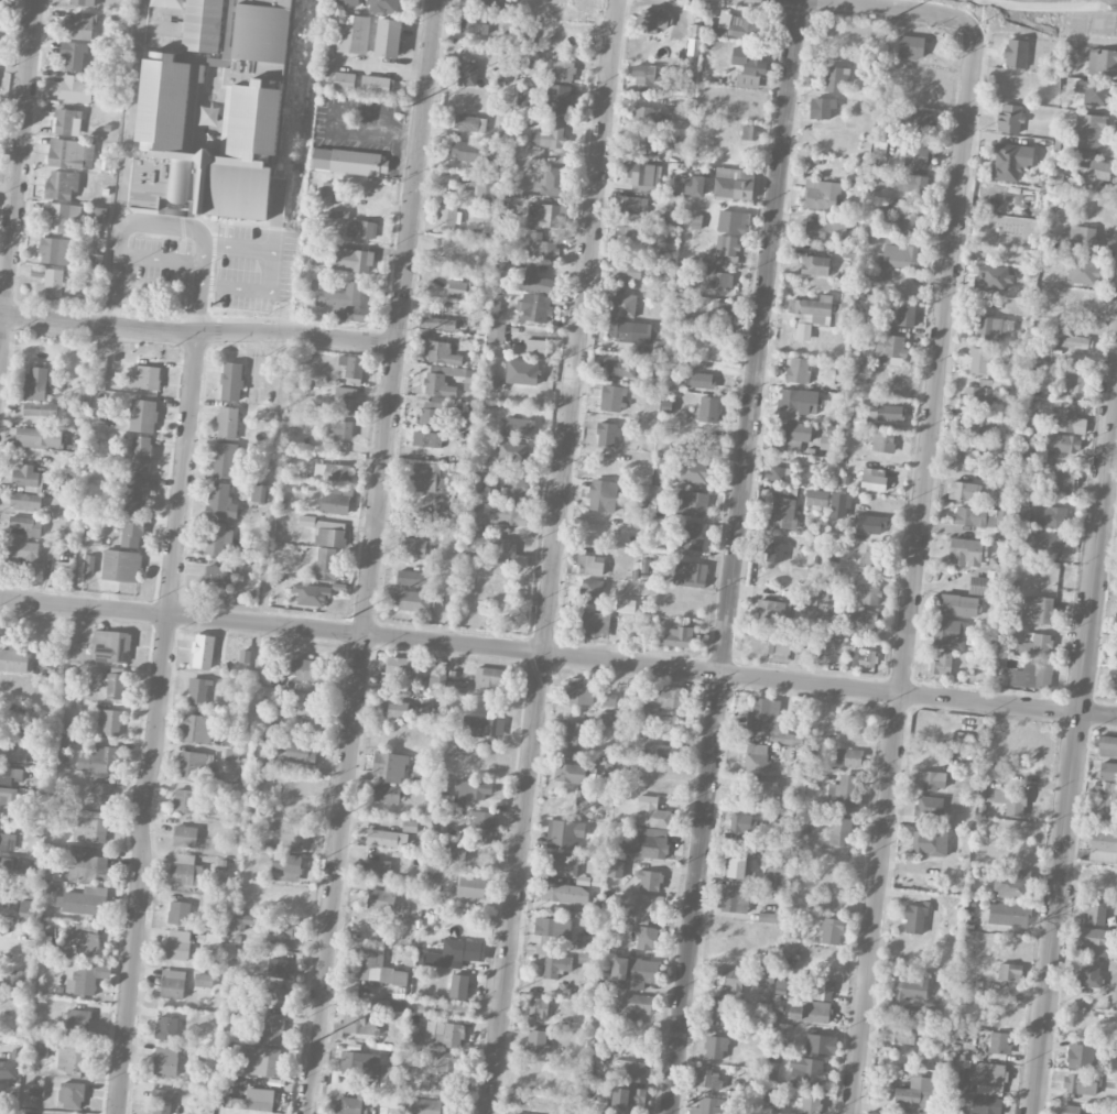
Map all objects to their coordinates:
building: (82, 2)
building: (348, 2)
building: (486, 3)
building: (384, 6)
road: (1059, 6)
building: (0, 7)
road: (902, 8)
power tower: (886, 19)
building: (653, 21)
building: (474, 23)
building: (203, 25)
building: (80, 26)
building: (741, 29)
building: (262, 30)
building: (353, 34)
building: (388, 37)
building: (911, 46)
building: (1016, 53)
building: (74, 54)
building: (223, 58)
building: (1103, 62)
building: (327, 65)
building: (748, 67)
building: (561, 70)
building: (642, 72)
building: (467, 74)
building: (835, 78)
building: (344, 81)
building: (647, 81)
building: (376, 85)
building: (75, 88)
building: (1093, 91)
building: (556, 98)
power tower: (412, 102)
building: (822, 107)
road: (129, 112)
building: (166, 112)
building: (643, 114)
building: (1009, 118)
building: (67, 121)
building: (914, 122)
building: (468, 123)
building: (1089, 130)
building: (749, 132)
building: (550, 134)
building: (470, 151)
building: (1086, 152)
building: (72, 153)
building: (918, 155)
building: (1010, 161)
building: (350, 162)
road: (18, 167)
building: (1099, 170)
building: (642, 174)
building: (1056, 179)
building: (549, 181)
building: (731, 184)
building: (911, 184)
building: (62, 185)
building: (694, 185)
building: (485, 189)
building: (333, 190)
building: (822, 195)
building: (633, 205)
building: (339, 214)
building: (448, 214)
building: (100, 215)
building: (544, 215)
building: (59, 216)
road: (152, 221)
building: (733, 221)
building: (908, 223)
building: (361, 229)
building: (824, 230)
building: (629, 236)
building: (1083, 239)
building: (541, 247)
building: (55, 250)
building: (725, 250)
road: (204, 252)
building: (900, 255)
road: (161, 258)
building: (353, 260)
building: (96, 261)
building: (815, 265)
road: (273, 267)
building: (628, 271)
building: (1082, 271)
road: (203, 273)
building: (994, 276)
building: (716, 278)
building: (535, 280)
building: (51, 286)
road: (113, 290)
building: (462, 290)
building: (348, 303)
building: (623, 305)
building: (535, 307)
road: (200, 309)
building: (723, 313)
building: (810, 314)
building: (905, 315)
building: (438, 323)
building: (991, 326)
building: (630, 331)
building: (496, 332)
road: (197, 334)
building: (1075, 341)
building: (532, 347)
building: (889, 349)
building: (440, 352)
power tower: (381, 354)
building: (979, 360)
building: (351, 365)
building: (620, 368)
building: (798, 370)
building: (144, 376)
building: (703, 378)
building: (1073, 380)
building: (39, 381)
building: (231, 381)
building: (440, 381)
building: (980, 393)
building: (84, 394)
building: (611, 397)
building: (345, 400)
building: (795, 403)
building: (40, 408)
building: (708, 408)
building: (889, 413)
building: (432, 414)
building: (142, 415)
building: (467, 419)
building: (1070, 419)
building: (227, 423)
building: (965, 425)
building: (519, 427)
building: (339, 429)
building: (793, 433)
building: (607, 434)
building: (39, 437)
building: (425, 438)
building: (882, 440)
building: (1064, 443)
building: (1026, 444)
building: (511, 451)
building: (140, 452)
building: (1040, 454)
building: (224, 459)
building: (968, 460)
building: (694, 471)
building: (332, 472)
building: (778, 473)
building: (29, 476)
building: (427, 478)
building: (874, 479)
building: (1064, 482)
building: (514, 488)
building: (135, 491)
building: (964, 491)
building: (259, 492)
building: (603, 495)
building: (816, 498)
building: (220, 500)
building: (28, 501)
building: (336, 501)
building: (691, 503)
building: (460, 505)
building: (839, 505)
building: (782, 513)
building: (508, 514)
building: (1021, 514)
building: (1058, 516)
building: (980, 518)
building: (870, 524)
building: (28, 525)
building: (131, 531)
building: (327, 532)
building: (691, 537)
building: (218, 538)
building: (1044, 543)
building: (413, 547)
building: (23, 549)
building: (501, 549)
building: (774, 551)
building: (965, 551)
building: (872, 555)
road: (371, 556)
road: (552, 556)
road: (736, 557)
building: (325, 563)
building: (89, 564)
building: (121, 565)
building: (589, 565)
building: (644, 565)
road: (911, 572)
building: (690, 574)
building: (216, 578)
building: (412, 578)
building: (986, 585)
building: (592, 591)
building: (311, 593)
building: (810, 594)
building: (869, 594)
building: (412, 600)
building: (626, 605)
building: (958, 605)
building: (1038, 609)
building: (774, 610)
building: (825, 610)
power tower: (350, 618)
building: (863, 619)
building: (592, 623)
building: (948, 633)
building: (771, 643)
building: (1035, 644)
building: (110, 646)
building: (203, 651)
road: (558, 654)
building: (802, 654)
building: (245, 655)
building: (1115, 655)
building: (864, 657)
building: (14, 659)
building: (942, 664)
building: (399, 667)
building: (306, 669)
building: (267, 675)
building: (438, 676)
building: (1032, 676)
building: (491, 677)
building: (113, 685)
building: (457, 686)
building: (1114, 687)
building: (198, 690)
building: (579, 690)
building: (663, 696)
building: (609, 699)
building: (307, 705)
building: (421, 706)
building: (395, 709)
building: (764, 716)
building: (609, 718)
building: (110, 722)
road: (156, 724)
building: (481, 727)
building: (197, 728)
building: (230, 734)
building: (577, 736)
building: (1107, 745)
road: (1074, 747)
building: (299, 751)
building: (661, 751)
building: (13, 752)
building: (231, 753)
building: (849, 756)
building: (757, 757)
building: (99, 760)
building: (195, 764)
building: (389, 767)
building: (969, 769)
building: (1108, 769)
building: (570, 773)
building: (9, 774)
building: (930, 780)
building: (473, 789)
building: (386, 793)
building: (764, 793)
building: (100, 794)
building: (843, 795)
building: (8, 796)
building: (184, 800)
building: (1011, 801)
building: (929, 807)
building: (652, 813)
building: (484, 820)
power tower: (327, 821)
building: (741, 822)
building: (90, 826)
building: (838, 830)
building: (564, 833)
building: (185, 836)
building: (293, 836)
building: (387, 838)
building: (7, 841)
building: (646, 842)
building: (930, 842)
building: (1103, 847)
building: (457, 850)
building: (8, 862)
building: (563, 864)
building: (87, 865)
building: (285, 867)
building: (615, 867)
building: (736, 867)
building: (377, 869)
building: (186, 870)
building: (777, 874)
building: (649, 881)
building: (1012, 885)
building: (471, 886)
building: (564, 893)
building: (384, 899)
building: (734, 899)
building: (85, 900)
building: (28, 906)
building: (648, 907)
building: (1095, 910)
building: (178, 913)
building: (1008, 914)
building: (914, 919)
building: (245, 921)
building: (552, 927)
building: (831, 930)
building: (281, 933)
building: (647, 938)
building: (213, 940)
building: (1093, 940)
building: (82, 943)
building: (45, 944)
building: (177, 944)
building: (239, 953)
building: (453, 953)
building: (556, 964)
building: (377, 968)
building: (280, 969)
building: (1009, 971)
building: (632, 972)
building: (1089, 975)
building: (764, 976)
building: (18, 978)
building: (87, 978)
building: (727, 978)
building: (203, 980)
building: (173, 984)
building: (458, 985)
building: (911, 985)
building: (789, 987)
building: (822, 990)
building: (279, 996)
building: (637, 1004)
building: (539, 1007)
building: (452, 1008)
building: (720, 1008)
building: (811, 1012)
building: (625, 1016)
building: (77, 1020)
building: (356, 1023)
building: (166, 1027)
building: (270, 1030)
building: (901, 1033)
building: (444, 1034)
building: (413, 1035)
building: (536, 1041)
building: (999, 1042)
building: (821, 1045)
building: (41, 1047)
building: (715, 1047)
power tower: (301, 1049)
building: (73, 1056)
building: (1081, 1057)
building: (165, 1060)
building: (353, 1061)
building: (446, 1061)
building: (264, 1062)
building: (8, 1069)
building: (630, 1070)
building: (806, 1072)
building: (989, 1073)
building: (770, 1075)
building: (708, 1078)
building: (1081, 1083)
building: (915, 1092)
building: (1, 1094)
building: (72, 1095)
building: (627, 1096)
building: (259, 1099)
building: (163, 1100)
building: (351, 1101)
building: (811, 1103)
building: (984, 1104)
building: (709, 1105)
building: (425, 1106)
building: (1070, 1108)

